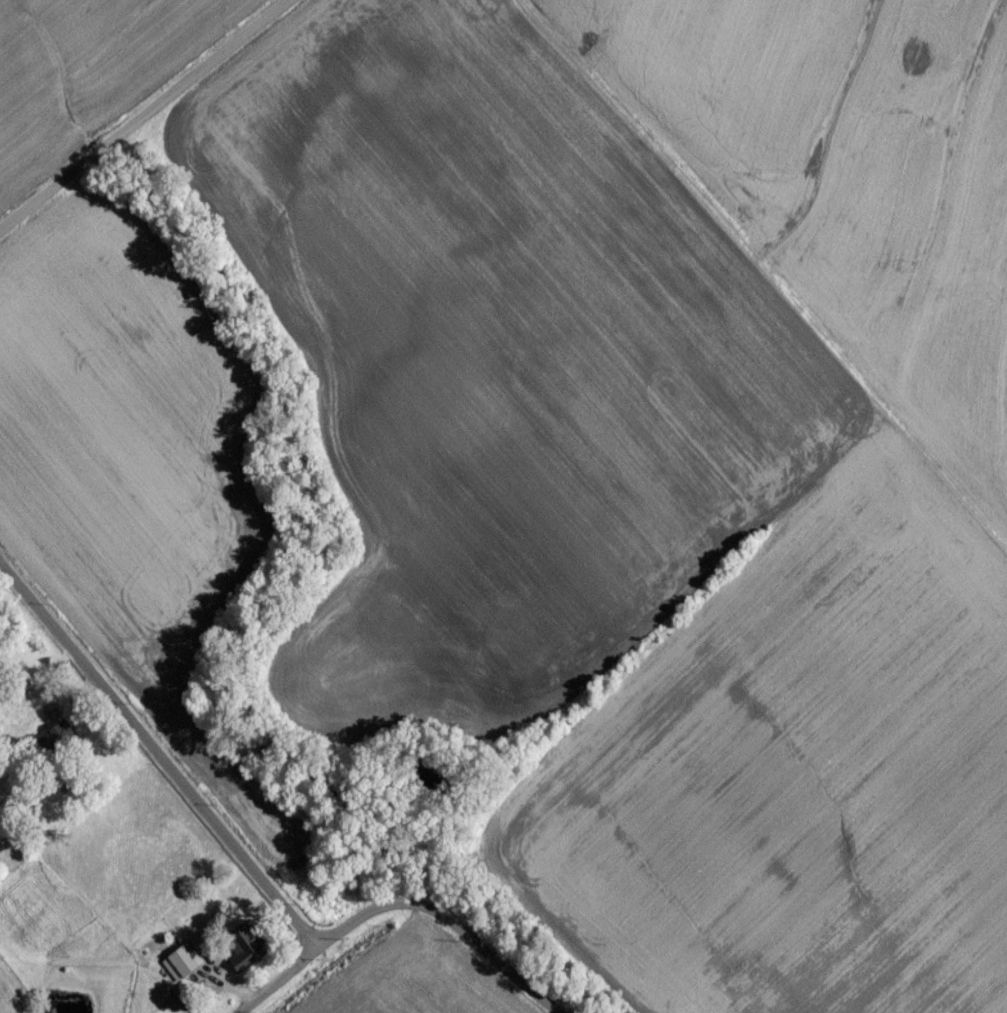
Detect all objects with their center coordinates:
road: (134, 108)
road: (159, 751)
road: (445, 920)
building: (179, 968)
road: (277, 980)

